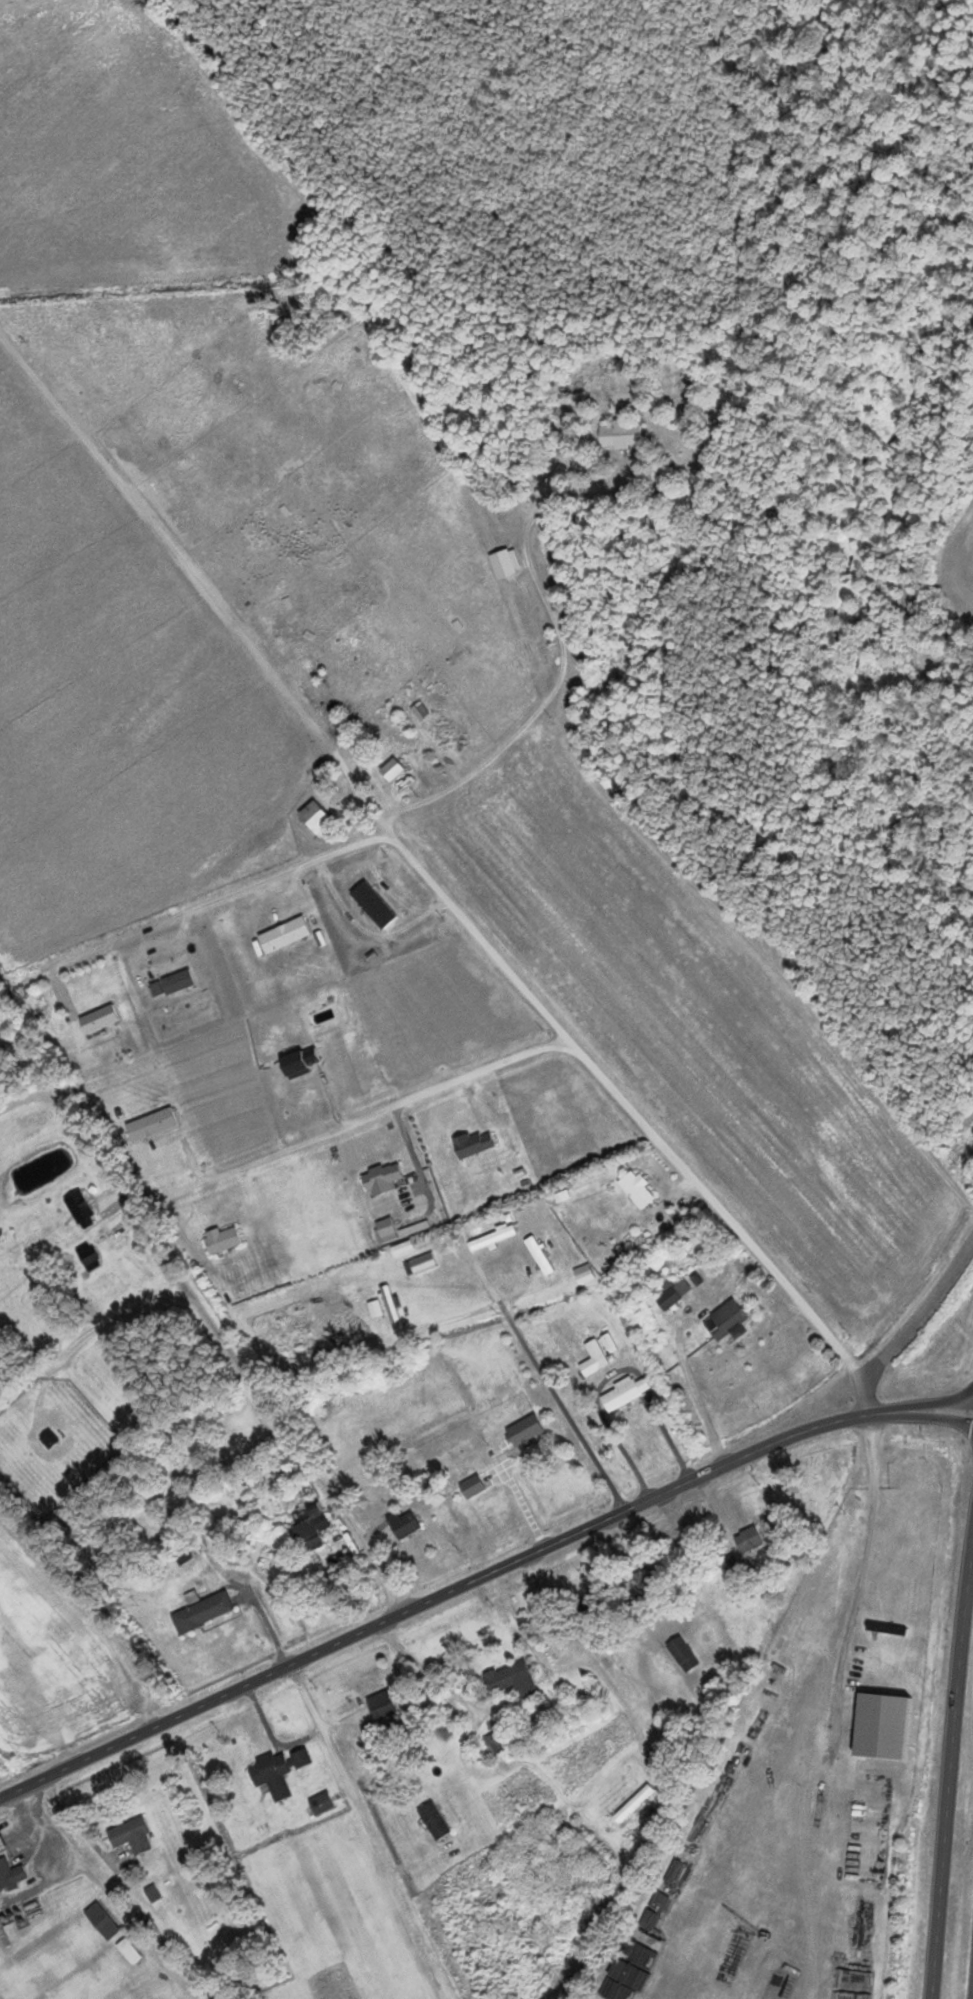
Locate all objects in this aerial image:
building: (556, 412)
building: (621, 434)
road: (961, 495)
building: (316, 820)
road: (427, 881)
building: (283, 934)
building: (98, 1019)
road: (369, 1117)
building: (152, 1124)
building: (473, 1144)
building: (382, 1178)
building: (636, 1188)
building: (386, 1228)
building: (492, 1238)
building: (222, 1240)
building: (402, 1248)
building: (539, 1255)
building: (673, 1295)
building: (374, 1304)
building: (726, 1320)
building: (597, 1352)
building: (625, 1392)
road: (555, 1393)
building: (524, 1429)
building: (49, 1438)
road: (300, 1448)
building: (472, 1485)
building: (403, 1523)
building: (311, 1527)
building: (748, 1540)
road: (479, 1577)
building: (645, 1579)
building: (202, 1611)
road: (267, 1620)
building: (683, 1653)
building: (511, 1678)
road: (34, 1685)
building: (381, 1704)
building: (882, 1725)
road: (284, 1753)
building: (279, 1770)
road: (951, 1771)
building: (322, 1802)
building: (638, 1808)
building: (434, 1819)
road: (374, 1830)
building: (131, 1835)
building: (1, 1846)
building: (11, 1874)
building: (153, 1893)
building: (102, 1920)
building: (129, 1950)
building: (642, 1959)

